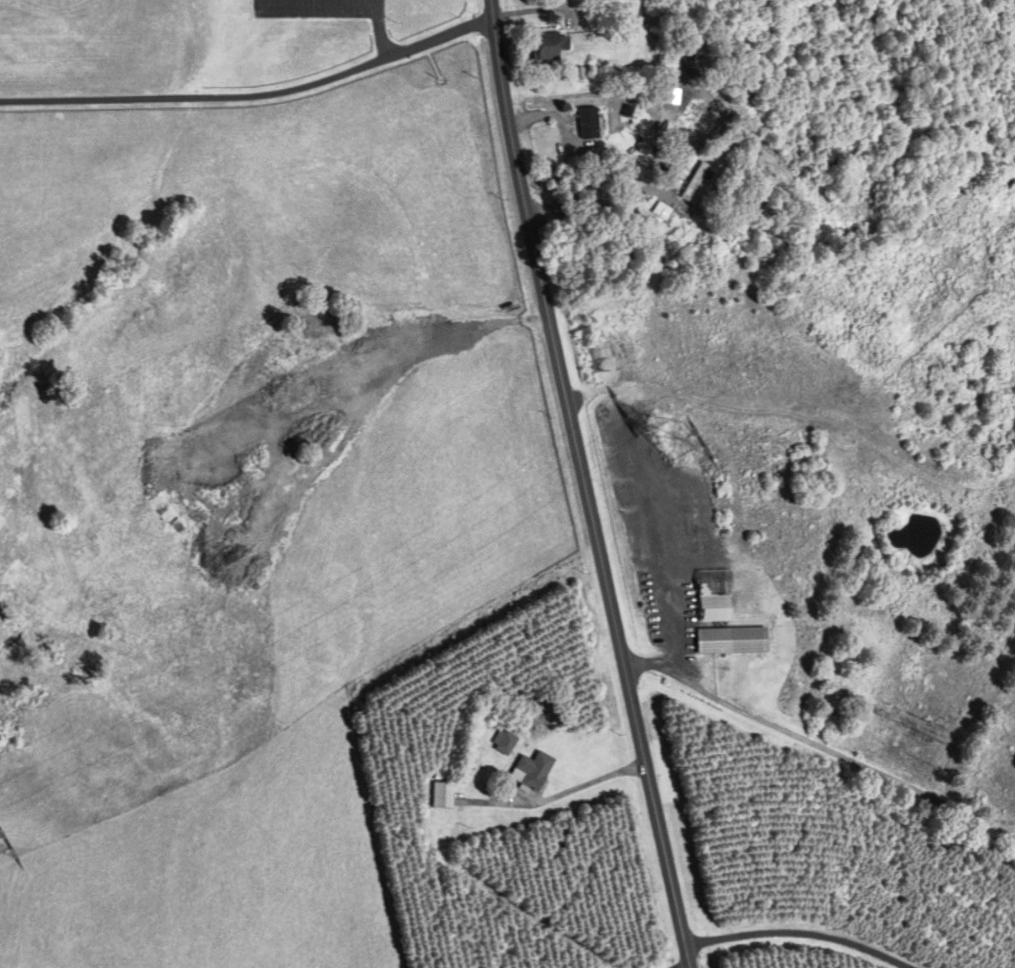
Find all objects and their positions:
building: (663, 1)
road: (379, 5)
road: (316, 11)
road: (382, 39)
building: (544, 47)
road: (251, 101)
building: (691, 183)
road: (596, 205)
building: (657, 212)
power tower: (673, 443)
road: (580, 485)
building: (725, 595)
building: (728, 641)
road: (821, 741)
building: (501, 743)
building: (529, 771)
road: (582, 785)
building: (439, 795)
road: (1014, 831)
road: (813, 922)

